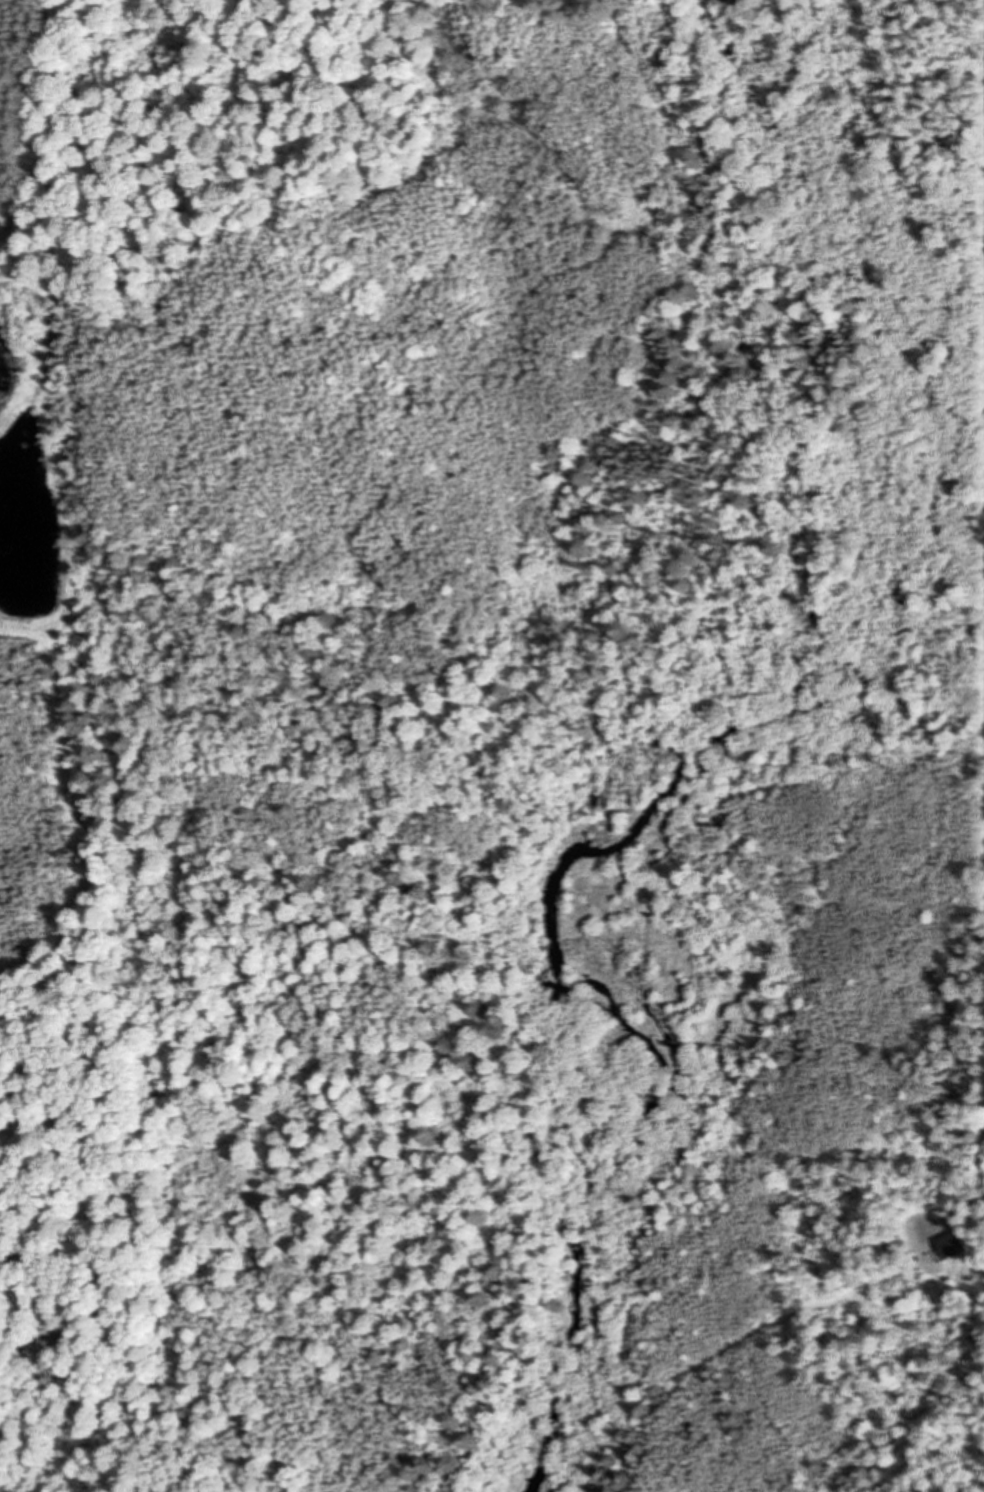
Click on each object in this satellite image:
building: (953, 1246)

